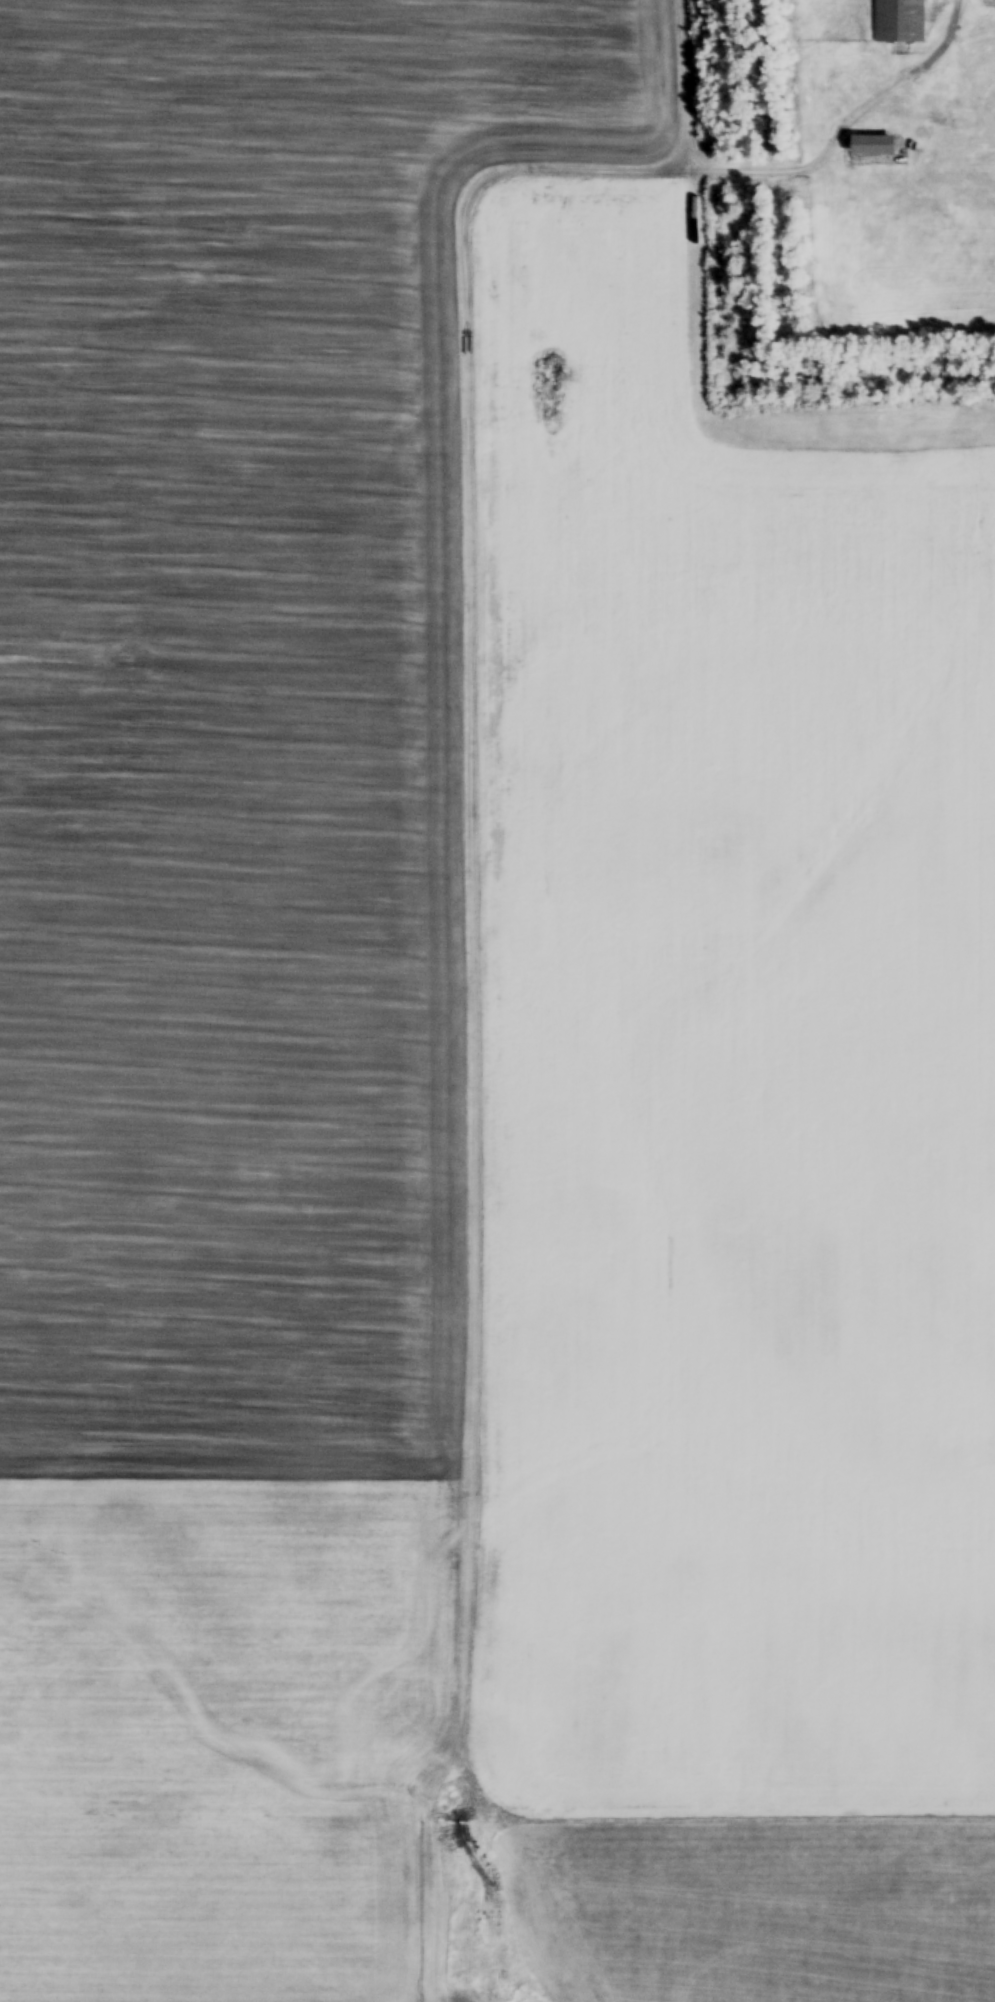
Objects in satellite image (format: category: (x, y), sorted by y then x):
building: (899, 22)
building: (874, 147)

